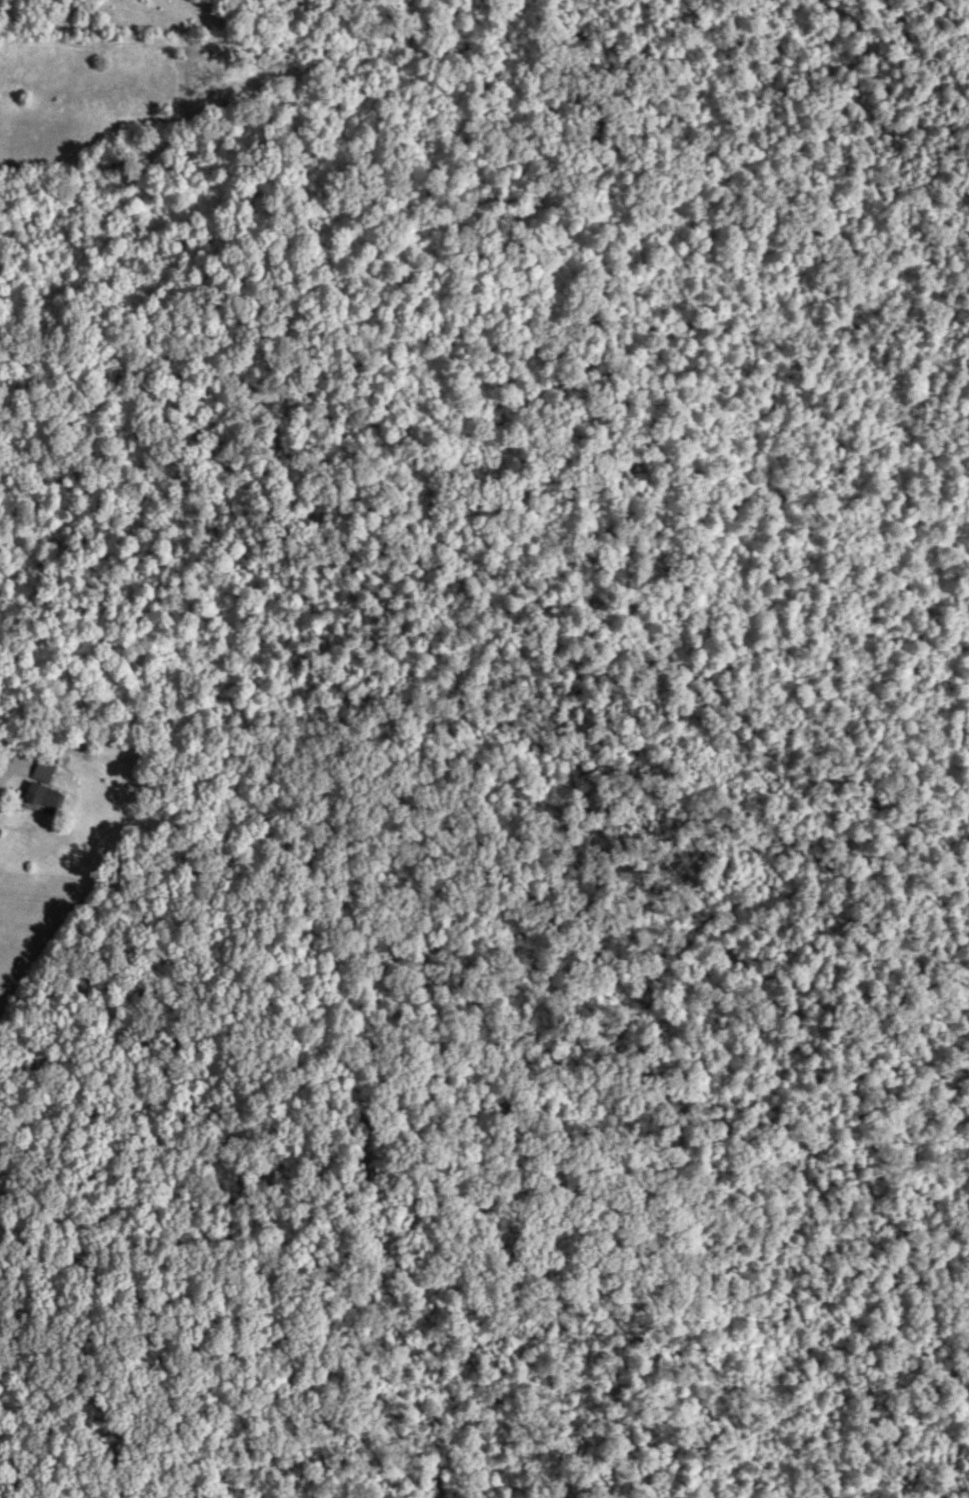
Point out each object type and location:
road: (630, 635)
road: (16, 767)
building: (42, 772)
building: (41, 795)

